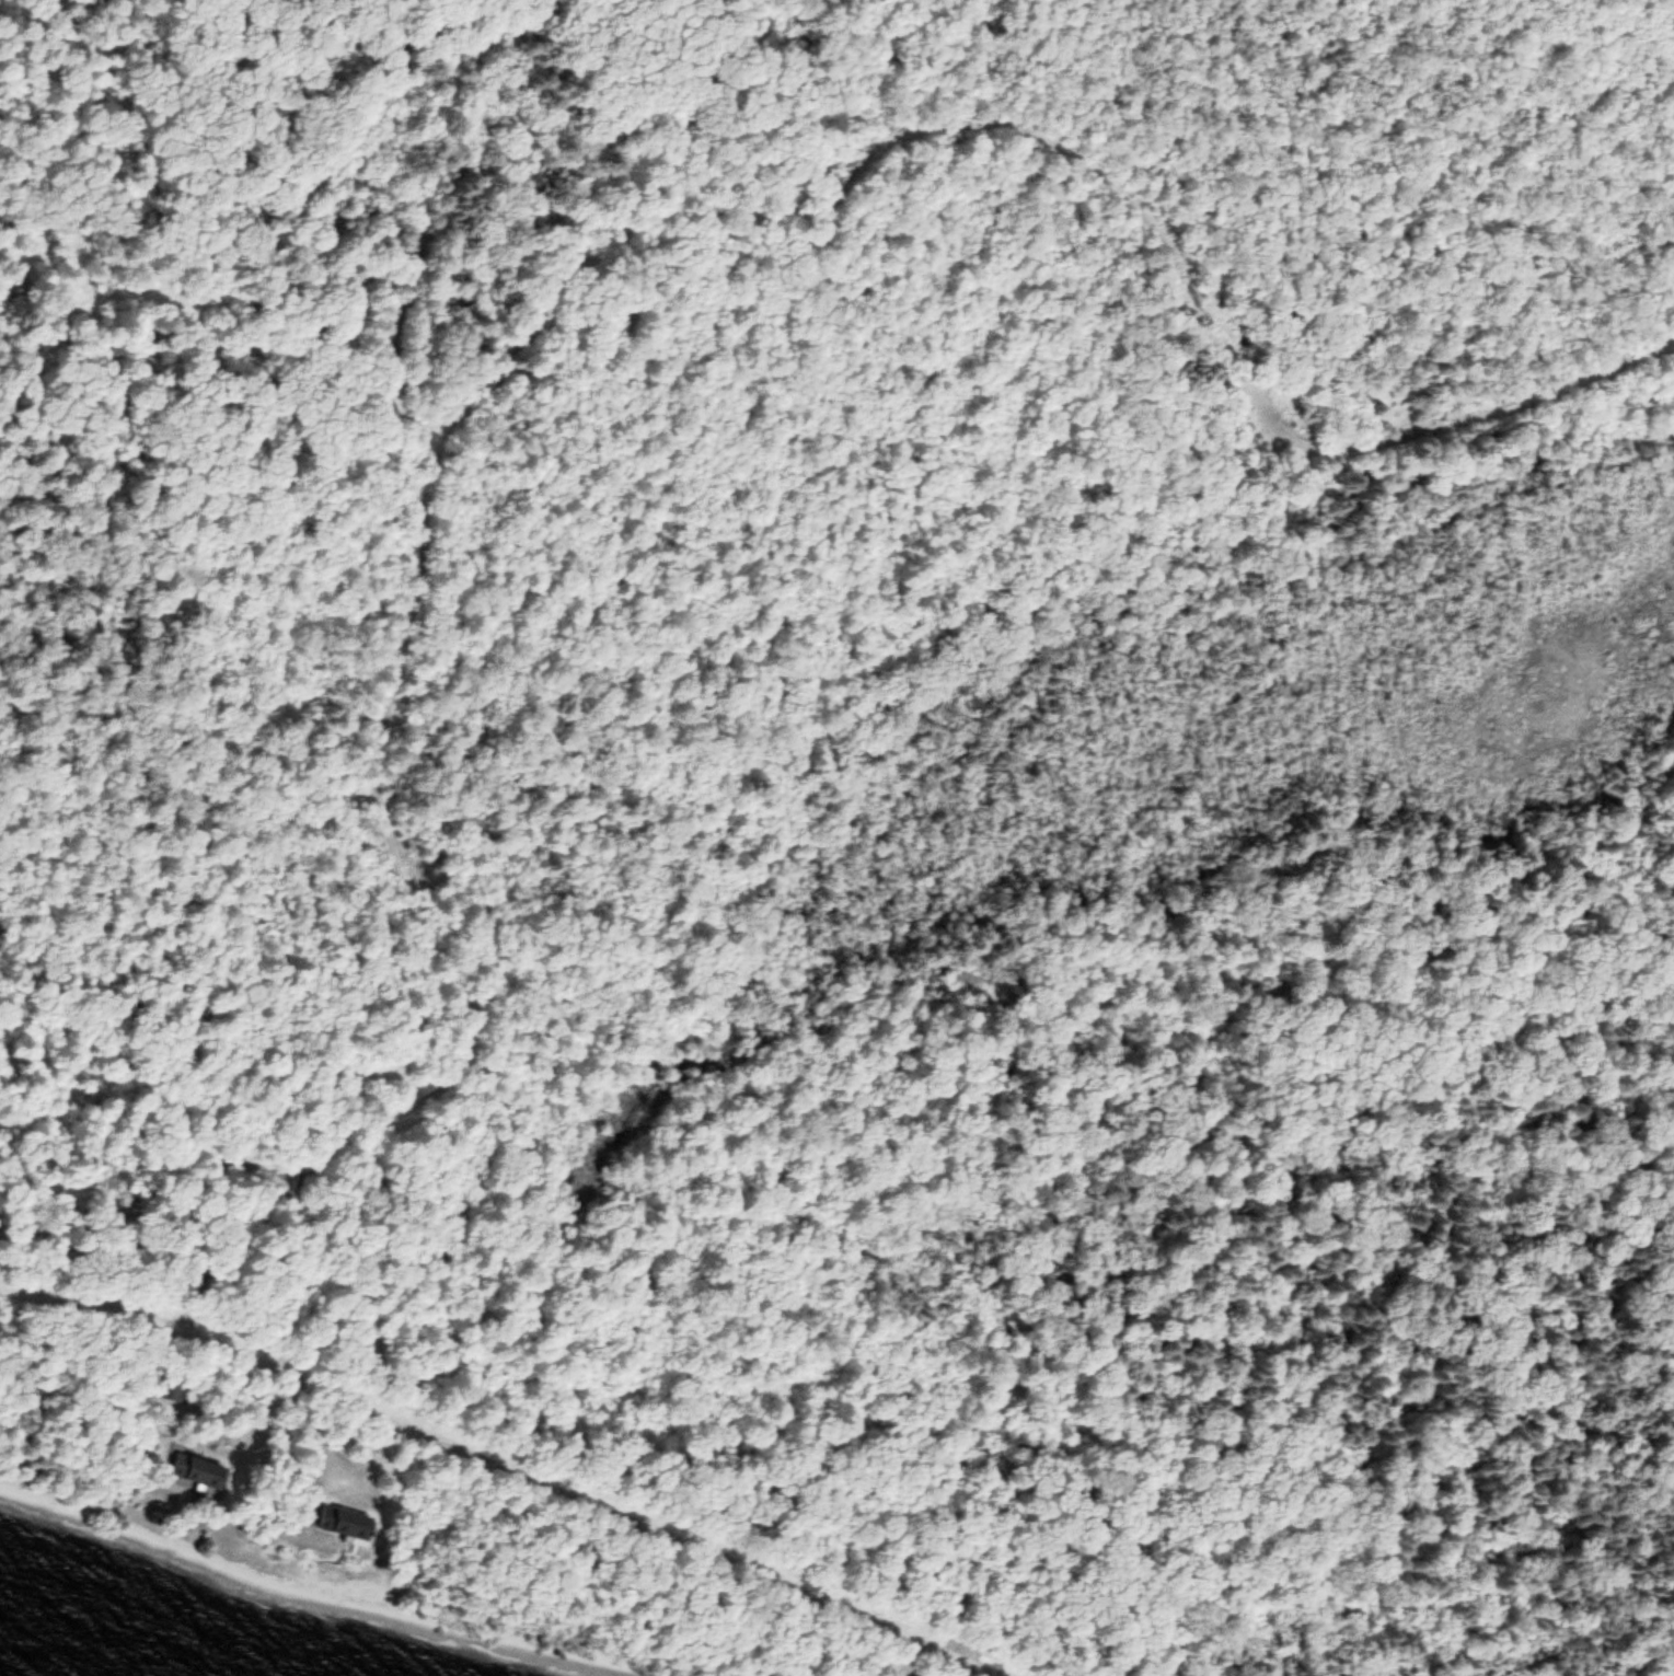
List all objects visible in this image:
road: (1049, 137)
road: (382, 723)
building: (172, 1390)
road: (498, 1461)
building: (186, 1471)
building: (328, 1528)

